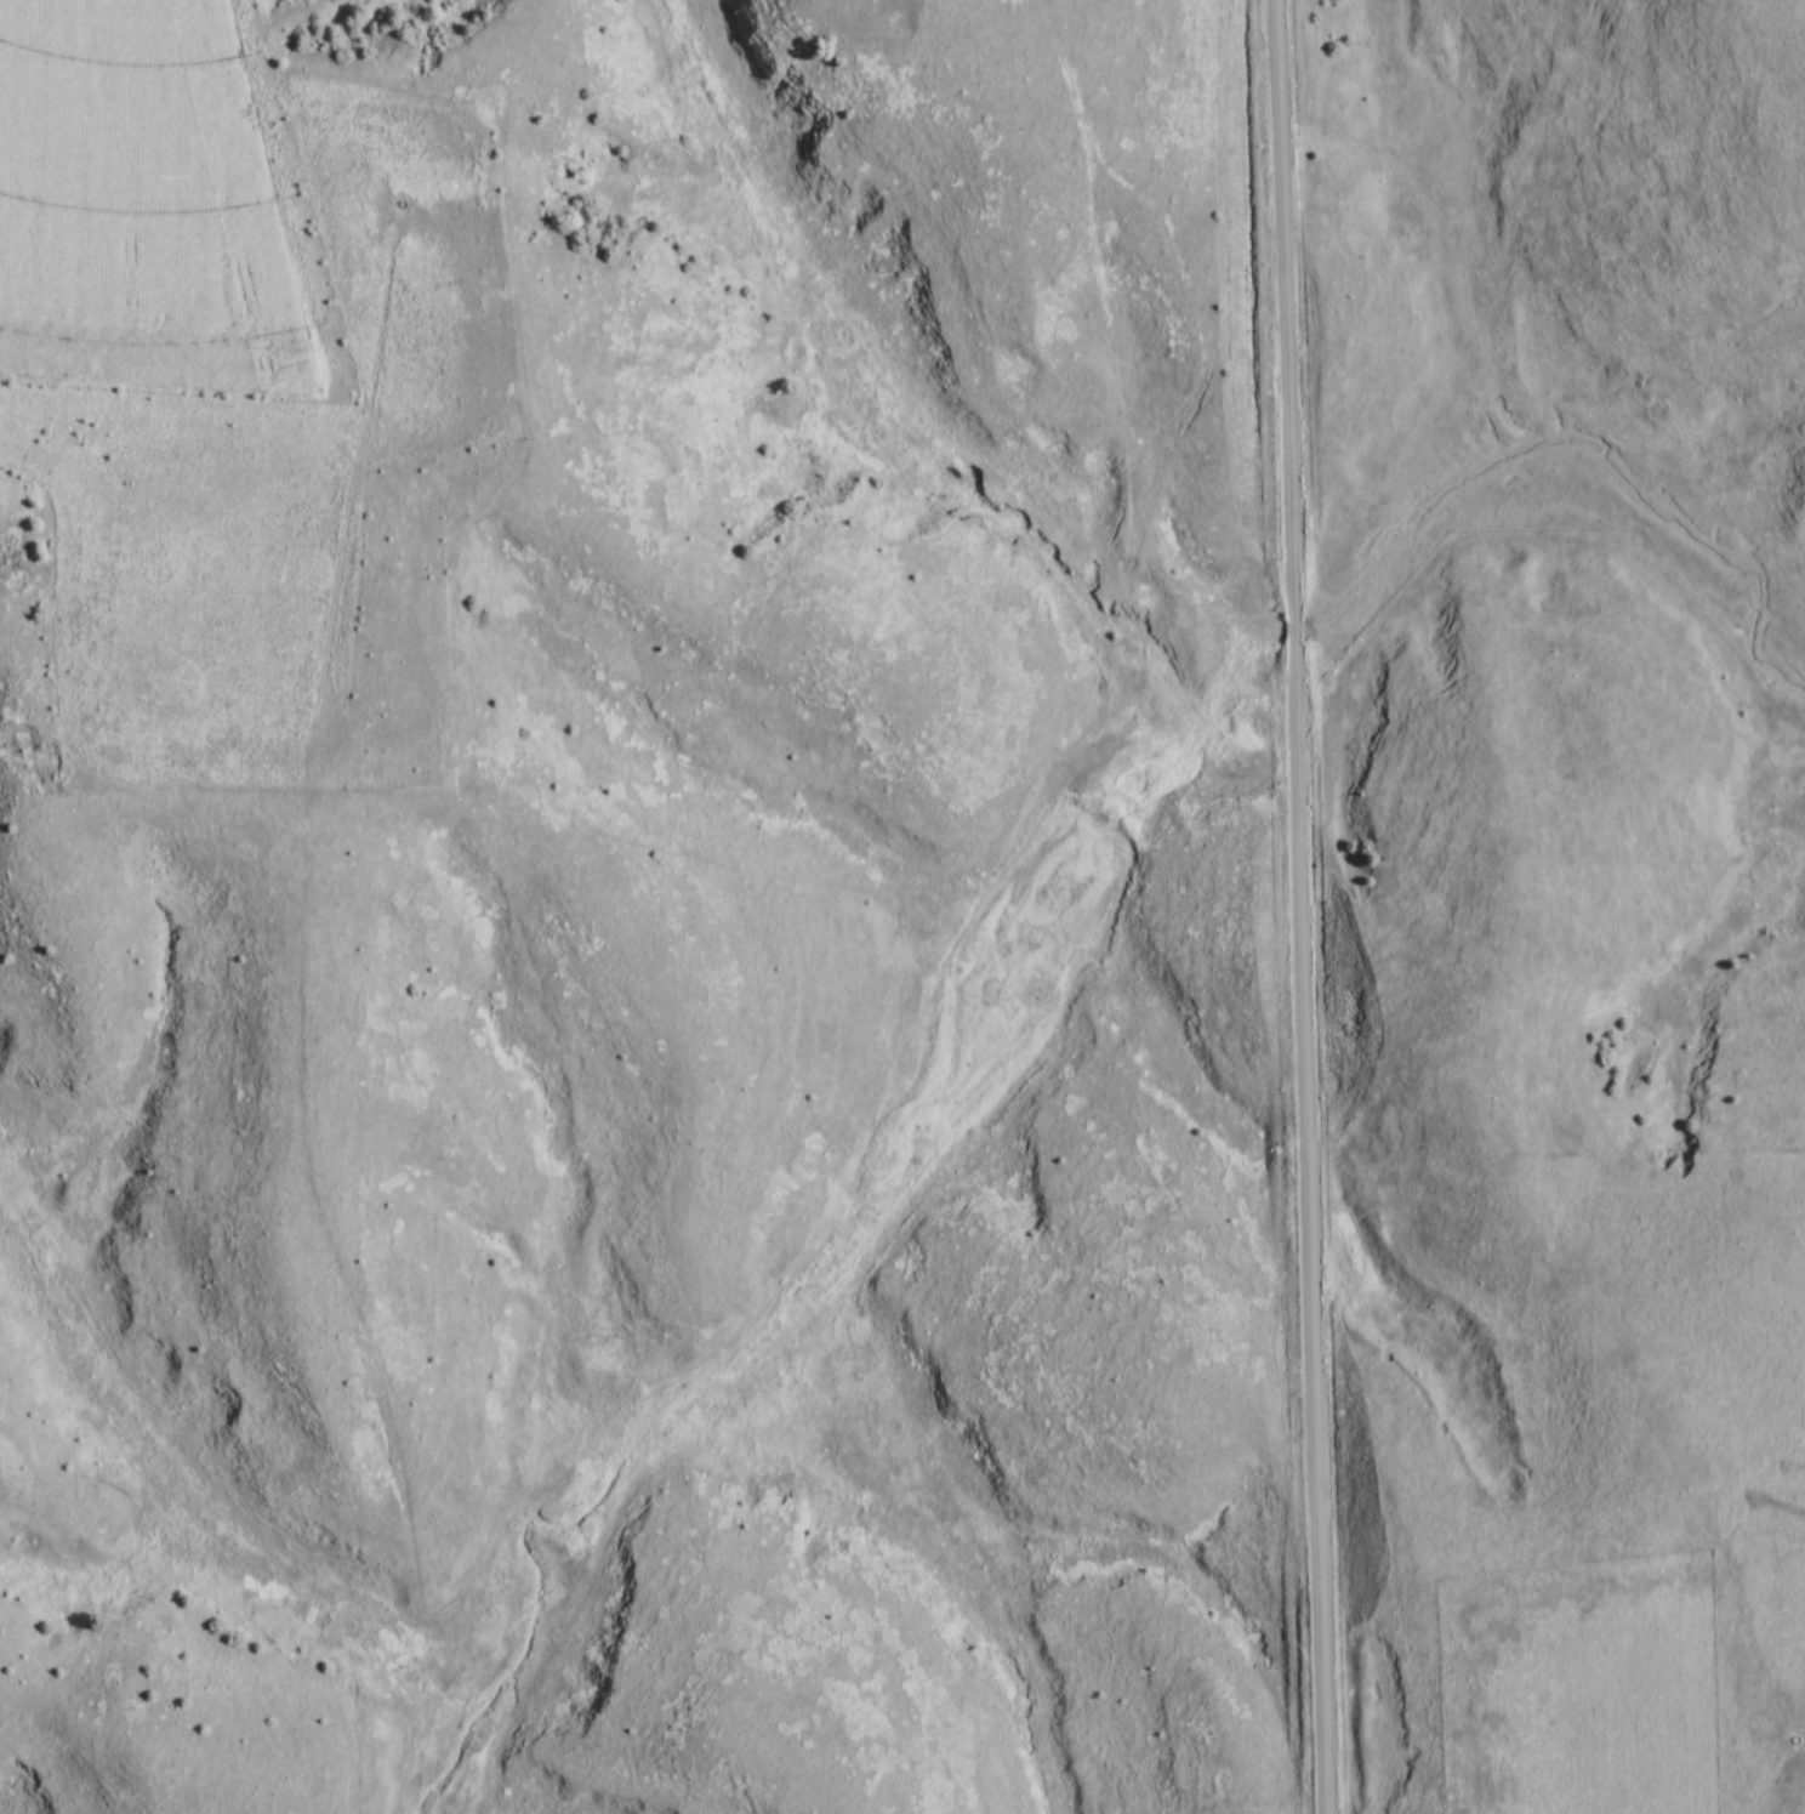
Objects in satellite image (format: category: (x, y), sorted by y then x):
road: (1305, 906)

